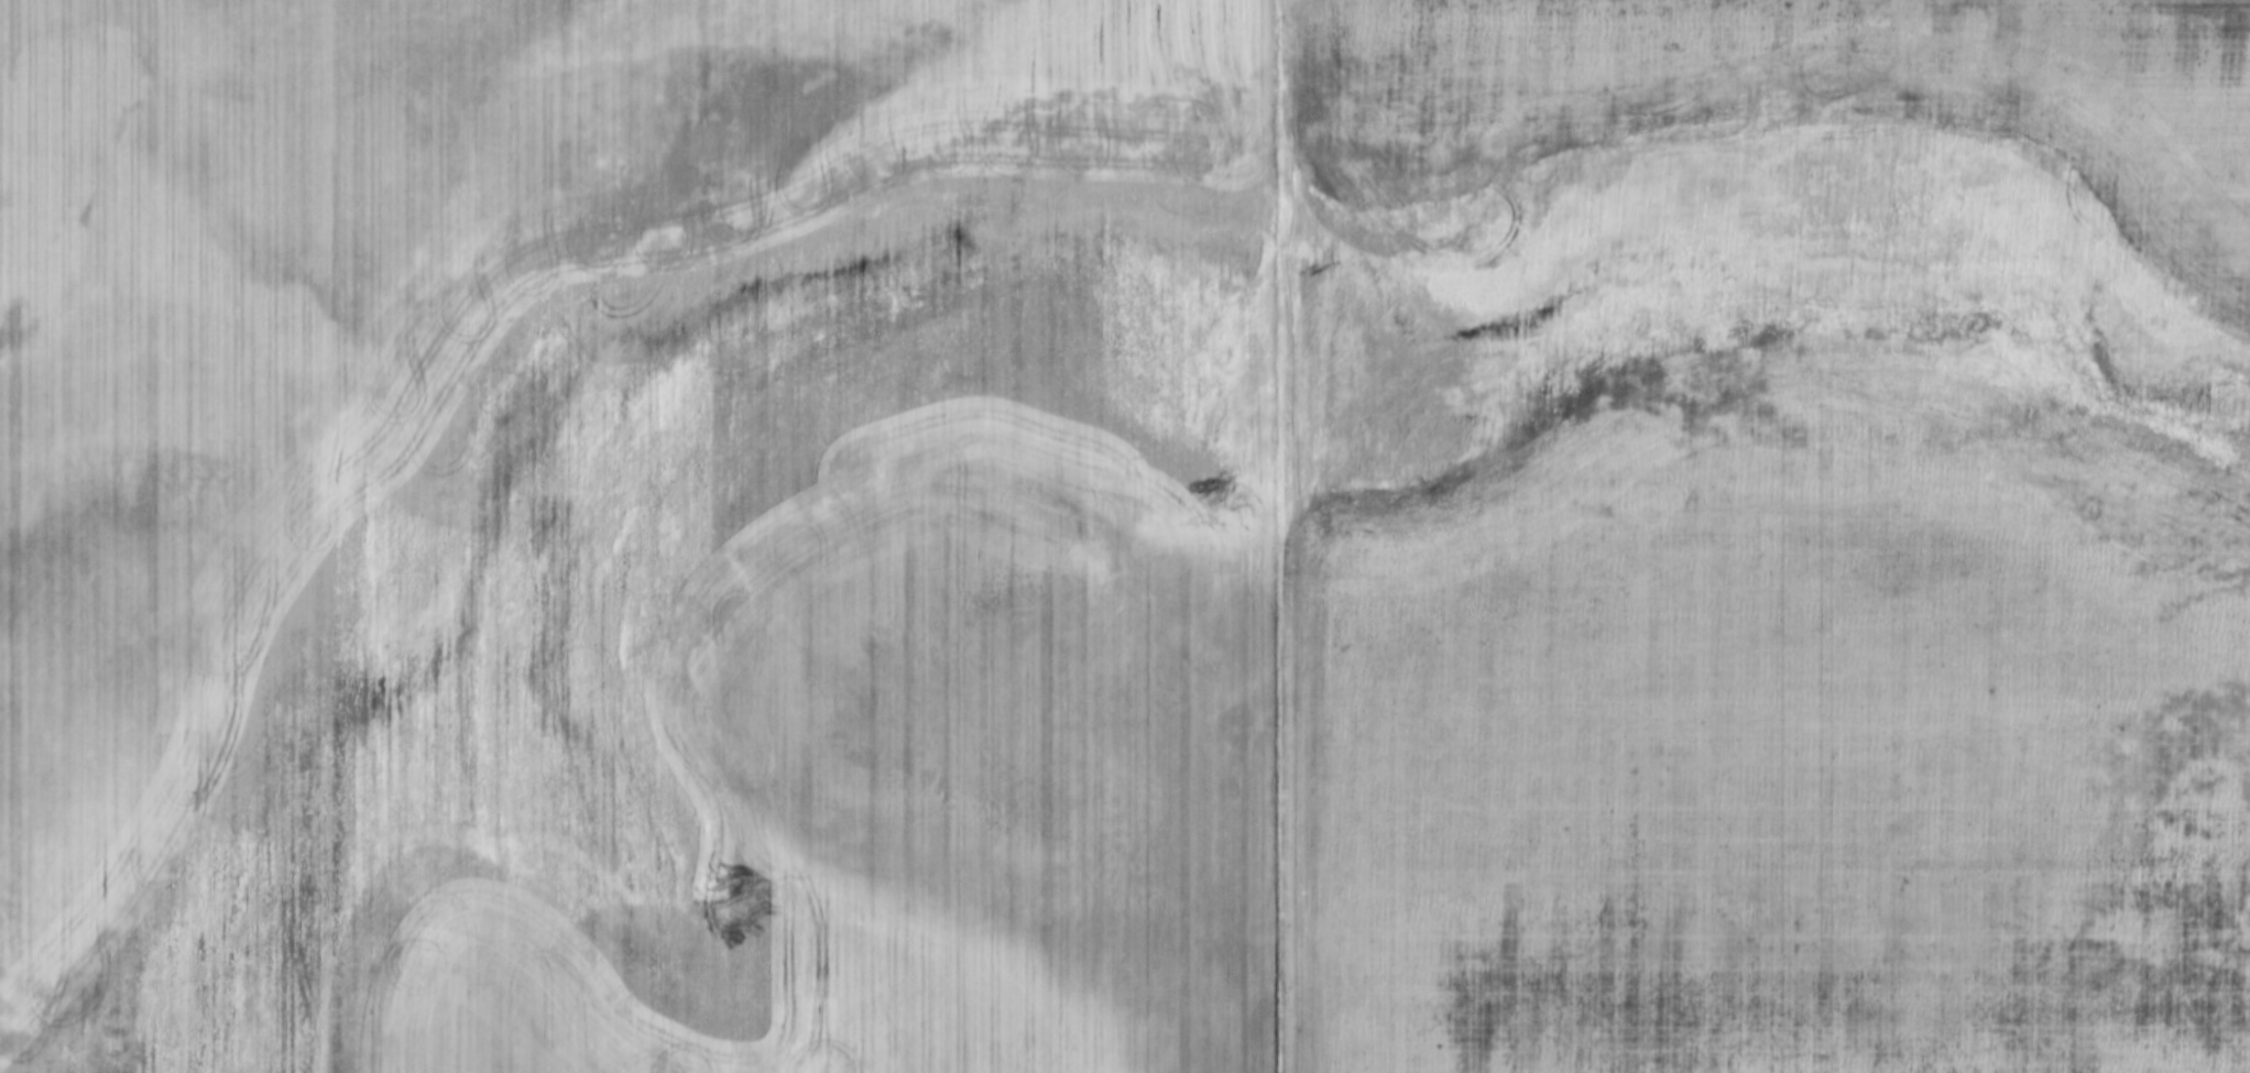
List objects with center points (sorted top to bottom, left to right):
road: (1302, 533)
road: (1767, 863)

